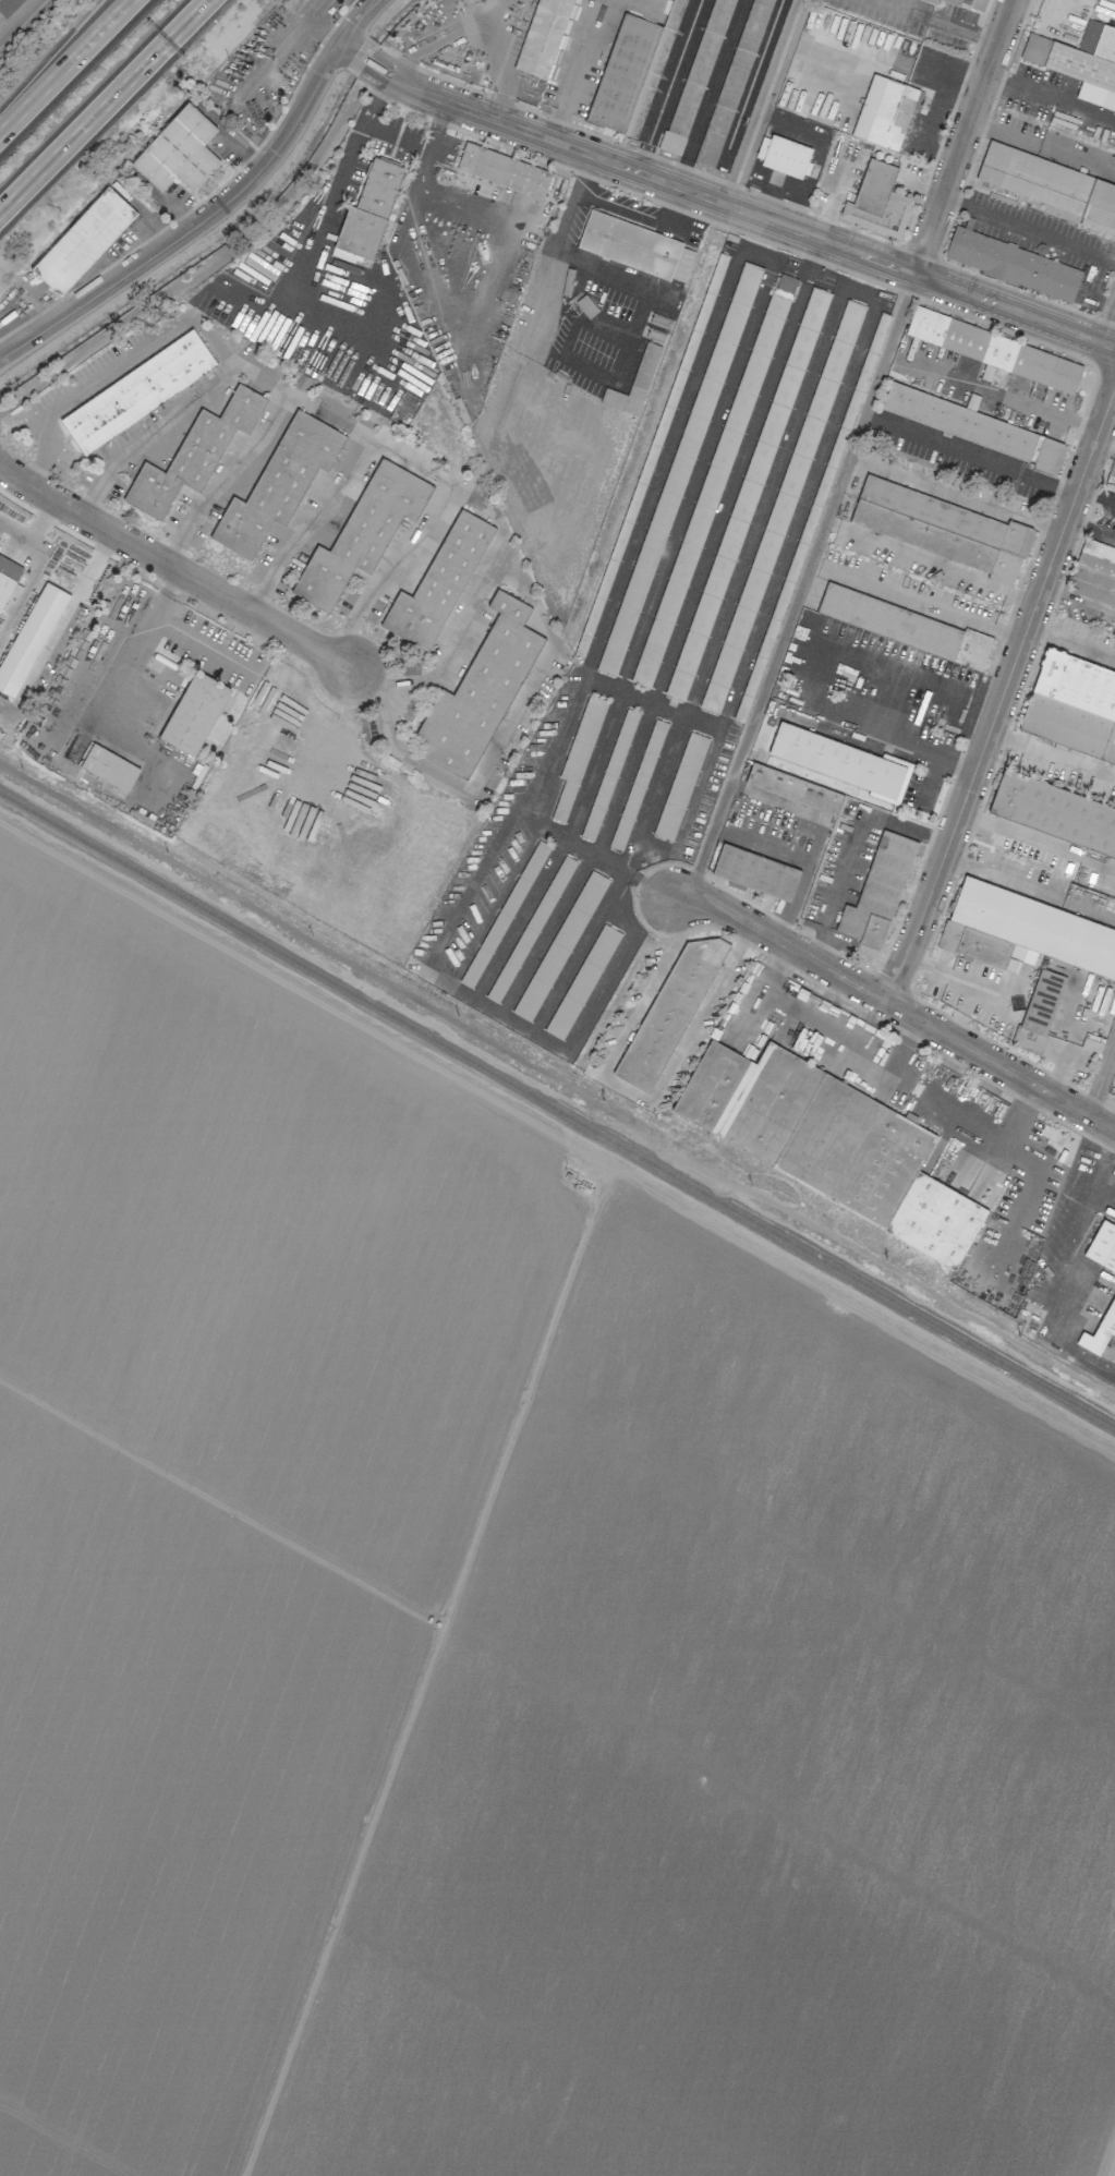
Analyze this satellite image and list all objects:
building: (932, 1)
building: (970, 4)
building: (8, 7)
road: (22, 23)
road: (473, 33)
road: (363, 34)
building: (538, 34)
road: (371, 40)
road: (346, 47)
road: (360, 56)
building: (1080, 62)
road: (64, 65)
building: (634, 70)
building: (693, 75)
building: (730, 82)
road: (764, 101)
road: (104, 105)
building: (884, 112)
road: (554, 119)
road: (962, 135)
building: (179, 152)
building: (785, 157)
building: (504, 170)
road: (585, 177)
building: (1047, 183)
road: (415, 194)
building: (877, 202)
road: (218, 208)
road: (739, 208)
road: (621, 209)
building: (367, 214)
road: (676, 215)
road: (317, 228)
road: (729, 229)
road: (1028, 230)
building: (83, 241)
building: (629, 244)
park: (190, 257)
road: (811, 259)
building: (1014, 264)
road: (213, 265)
building: (680, 270)
building: (786, 282)
road: (1106, 316)
building: (995, 352)
building: (634, 384)
building: (137, 391)
road: (998, 396)
building: (975, 427)
road: (155, 433)
road: (970, 452)
building: (193, 454)
road: (229, 479)
building: (1110, 482)
building: (278, 483)
road: (447, 485)
road: (728, 489)
road: (956, 491)
road: (1096, 494)
road: (312, 525)
road: (1090, 527)
building: (942, 529)
building: (362, 532)
road: (59, 563)
road: (930, 563)
road: (172, 566)
road: (390, 573)
building: (1094, 575)
building: (8, 576)
building: (438, 583)
road: (801, 584)
road: (24, 601)
road: (914, 604)
building: (904, 626)
road: (461, 637)
building: (29, 638)
road: (1067, 640)
road: (196, 643)
road: (1111, 656)
road: (48, 658)
road: (119, 687)
building: (480, 691)
road: (1003, 693)
building: (1072, 706)
building: (194, 713)
road: (876, 732)
road: (1051, 759)
building: (841, 762)
road: (940, 763)
building: (109, 767)
building: (680, 786)
building: (793, 788)
building: (1054, 812)
road: (610, 813)
road: (815, 838)
road: (1038, 841)
road: (850, 844)
road: (761, 846)
building: (755, 871)
road: (1017, 882)
building: (877, 891)
building: (1023, 931)
building: (560, 945)
road: (926, 964)
building: (582, 981)
road: (971, 1003)
road: (893, 1006)
building: (668, 1011)
road: (1102, 1080)
road: (628, 1090)
railway: (557, 1109)
building: (826, 1141)
road: (1102, 1163)
building: (1102, 1245)
building: (1100, 1330)
crop: (500, 1645)

